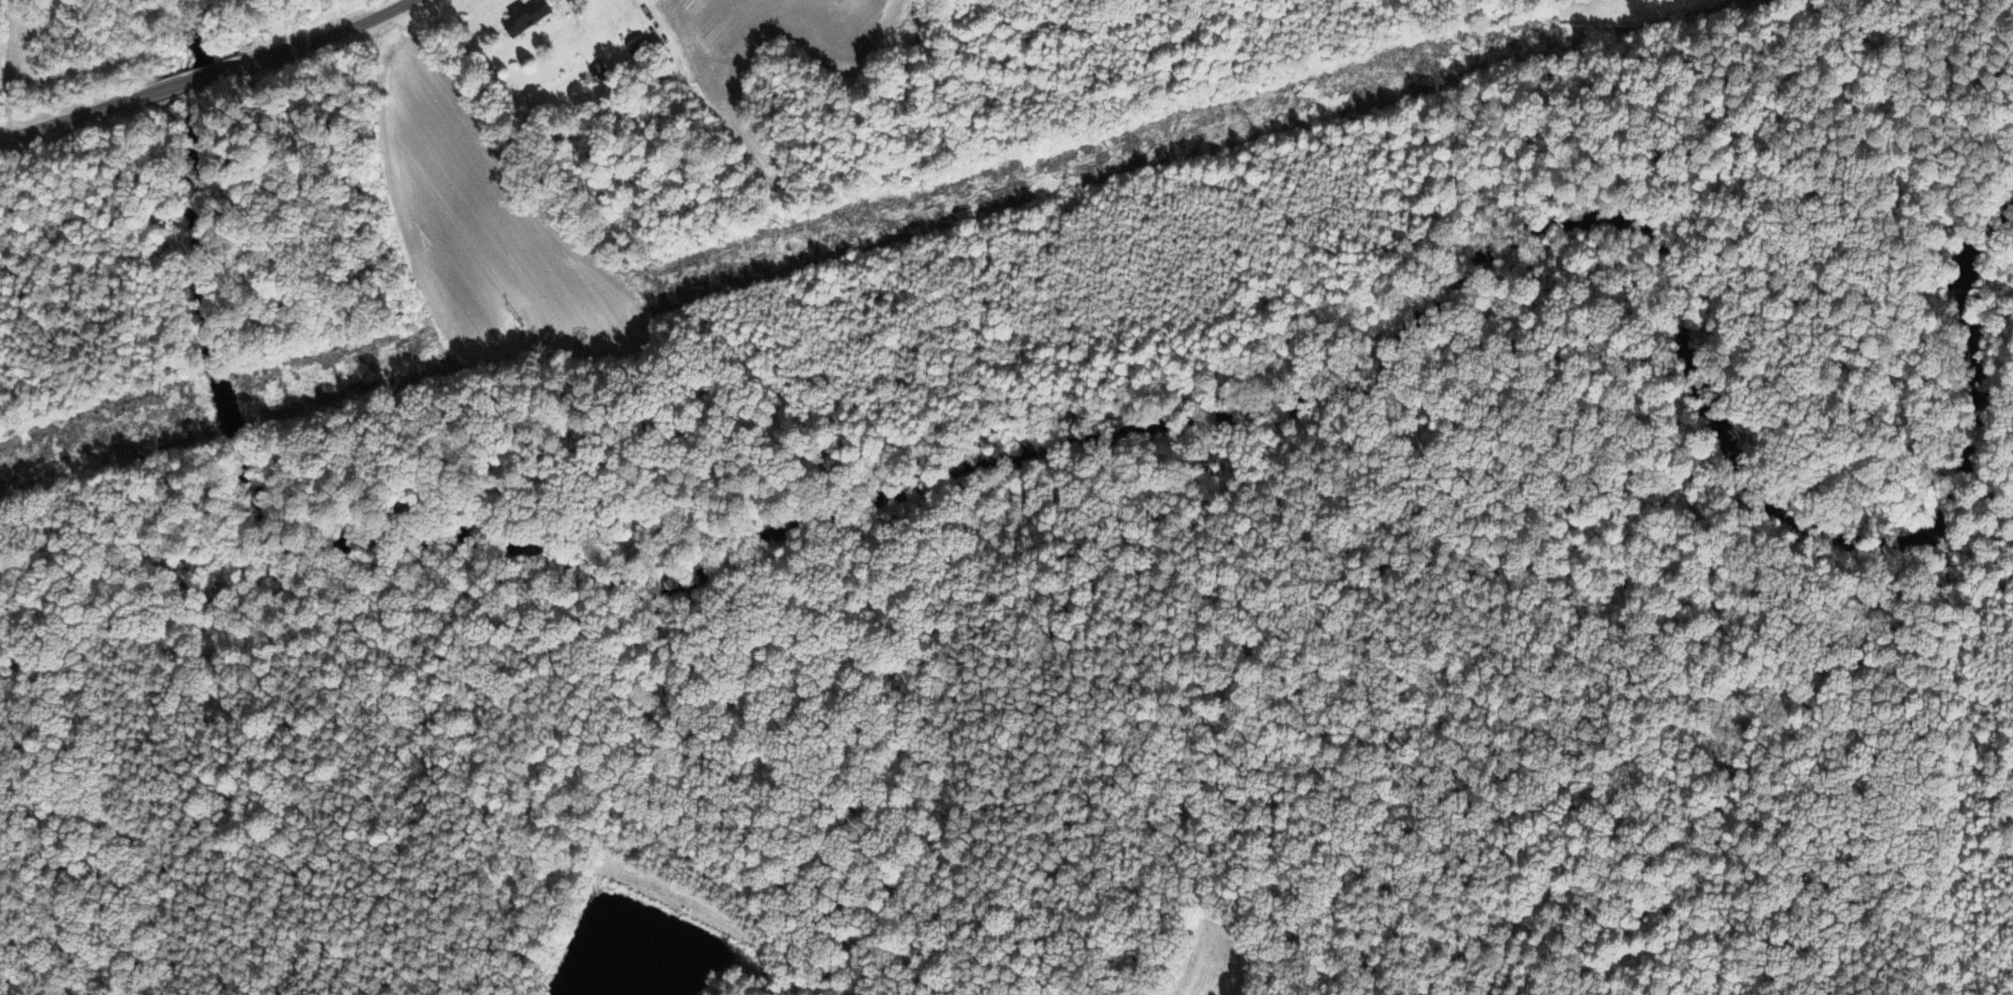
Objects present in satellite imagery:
building: (527, 15)
road: (342, 32)
building: (638, 47)
building: (228, 70)
road: (212, 76)
power tower: (1245, 117)
road: (77, 118)
power tower: (852, 226)
power tower: (518, 321)
power tower: (136, 430)

